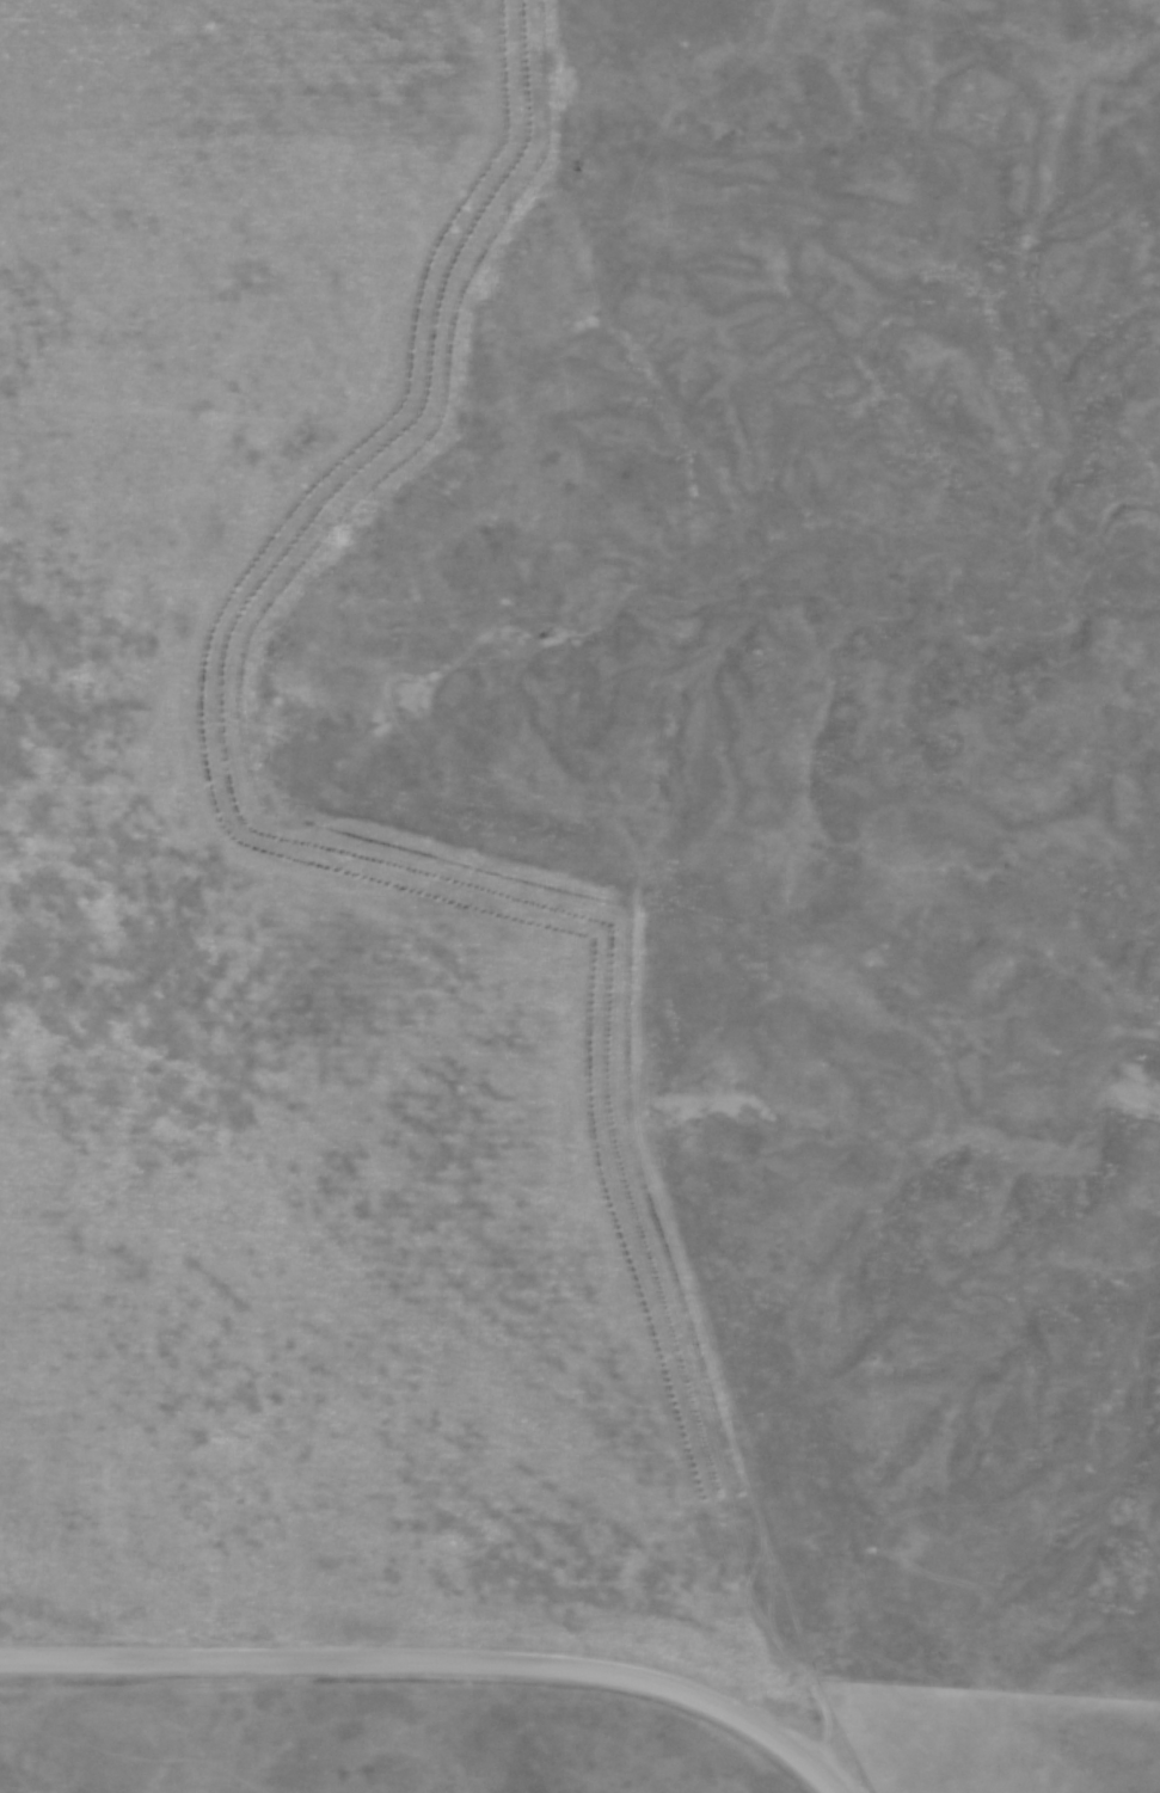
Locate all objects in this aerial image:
road: (435, 1664)

